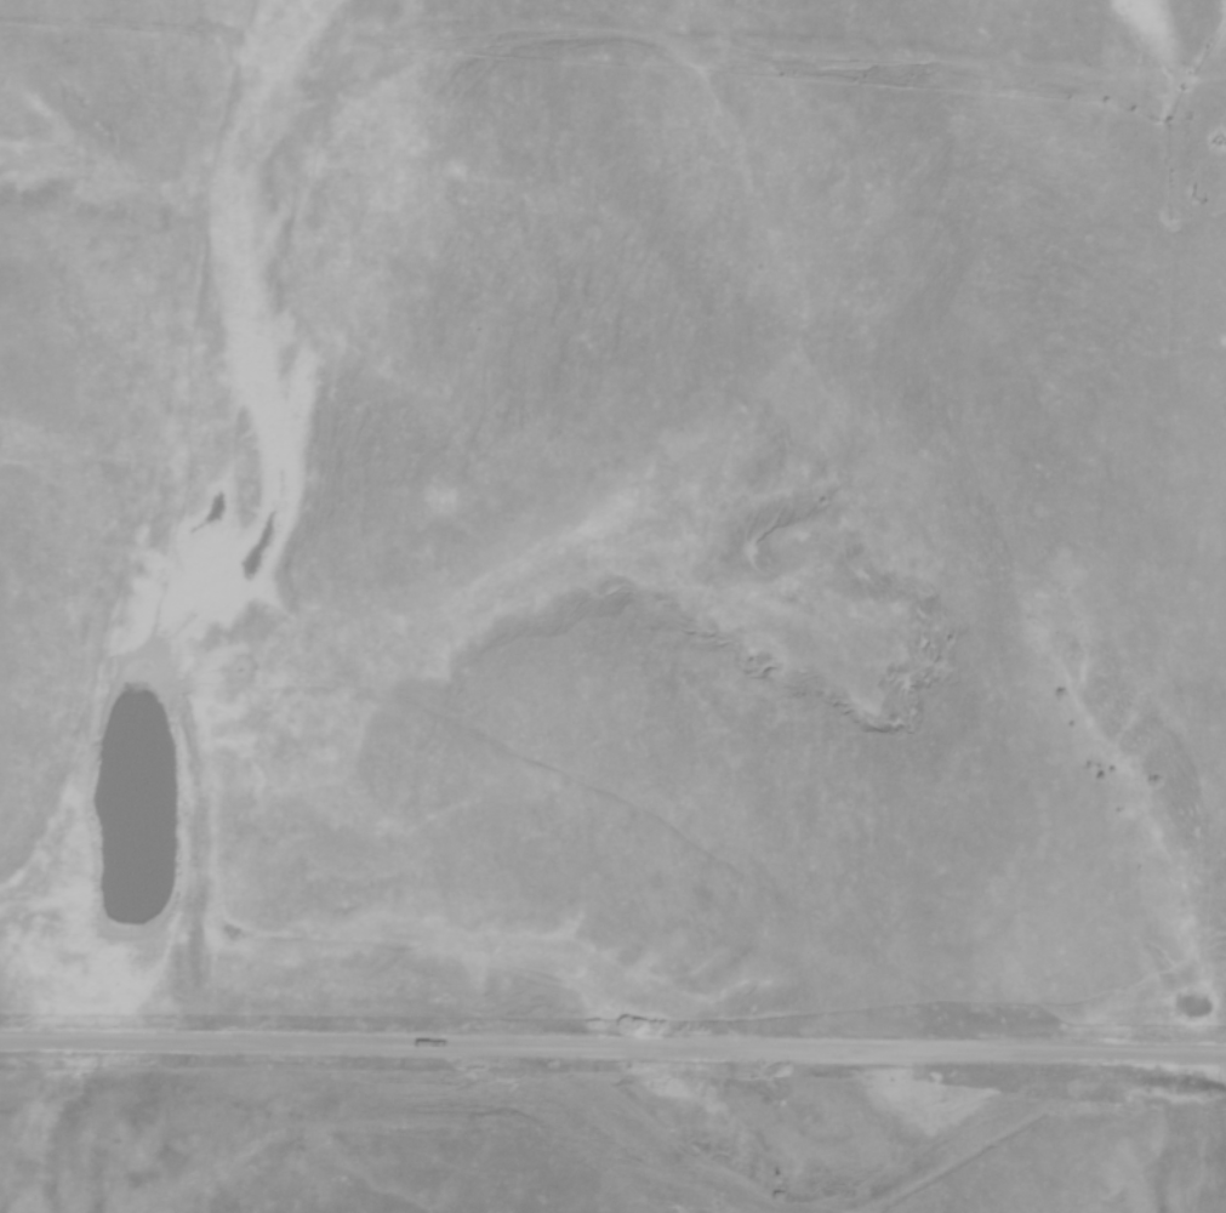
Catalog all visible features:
road: (612, 1047)

